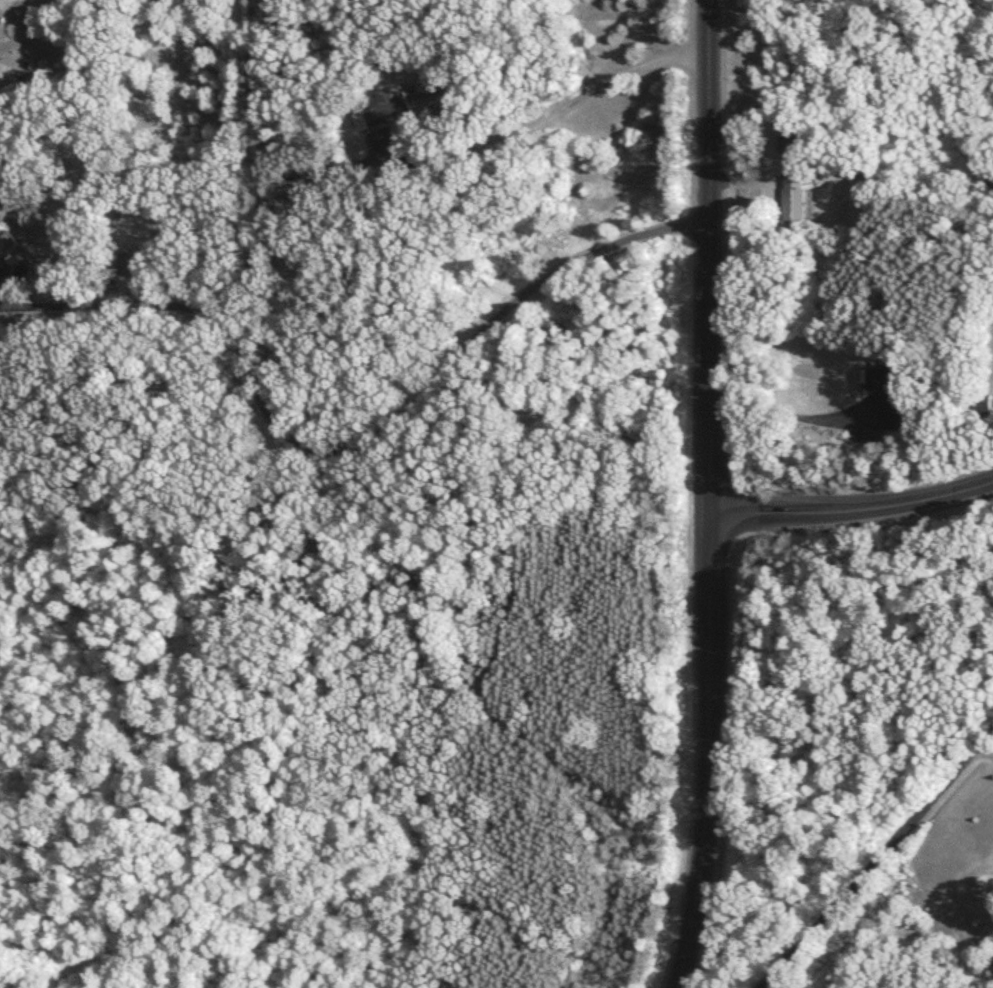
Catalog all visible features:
building: (389, 108)
road: (544, 114)
building: (787, 144)
building: (794, 198)
building: (12, 261)
building: (130, 266)
road: (707, 321)
building: (891, 412)
road: (785, 414)
road: (378, 431)
road: (850, 508)
road: (704, 816)
road: (871, 860)

